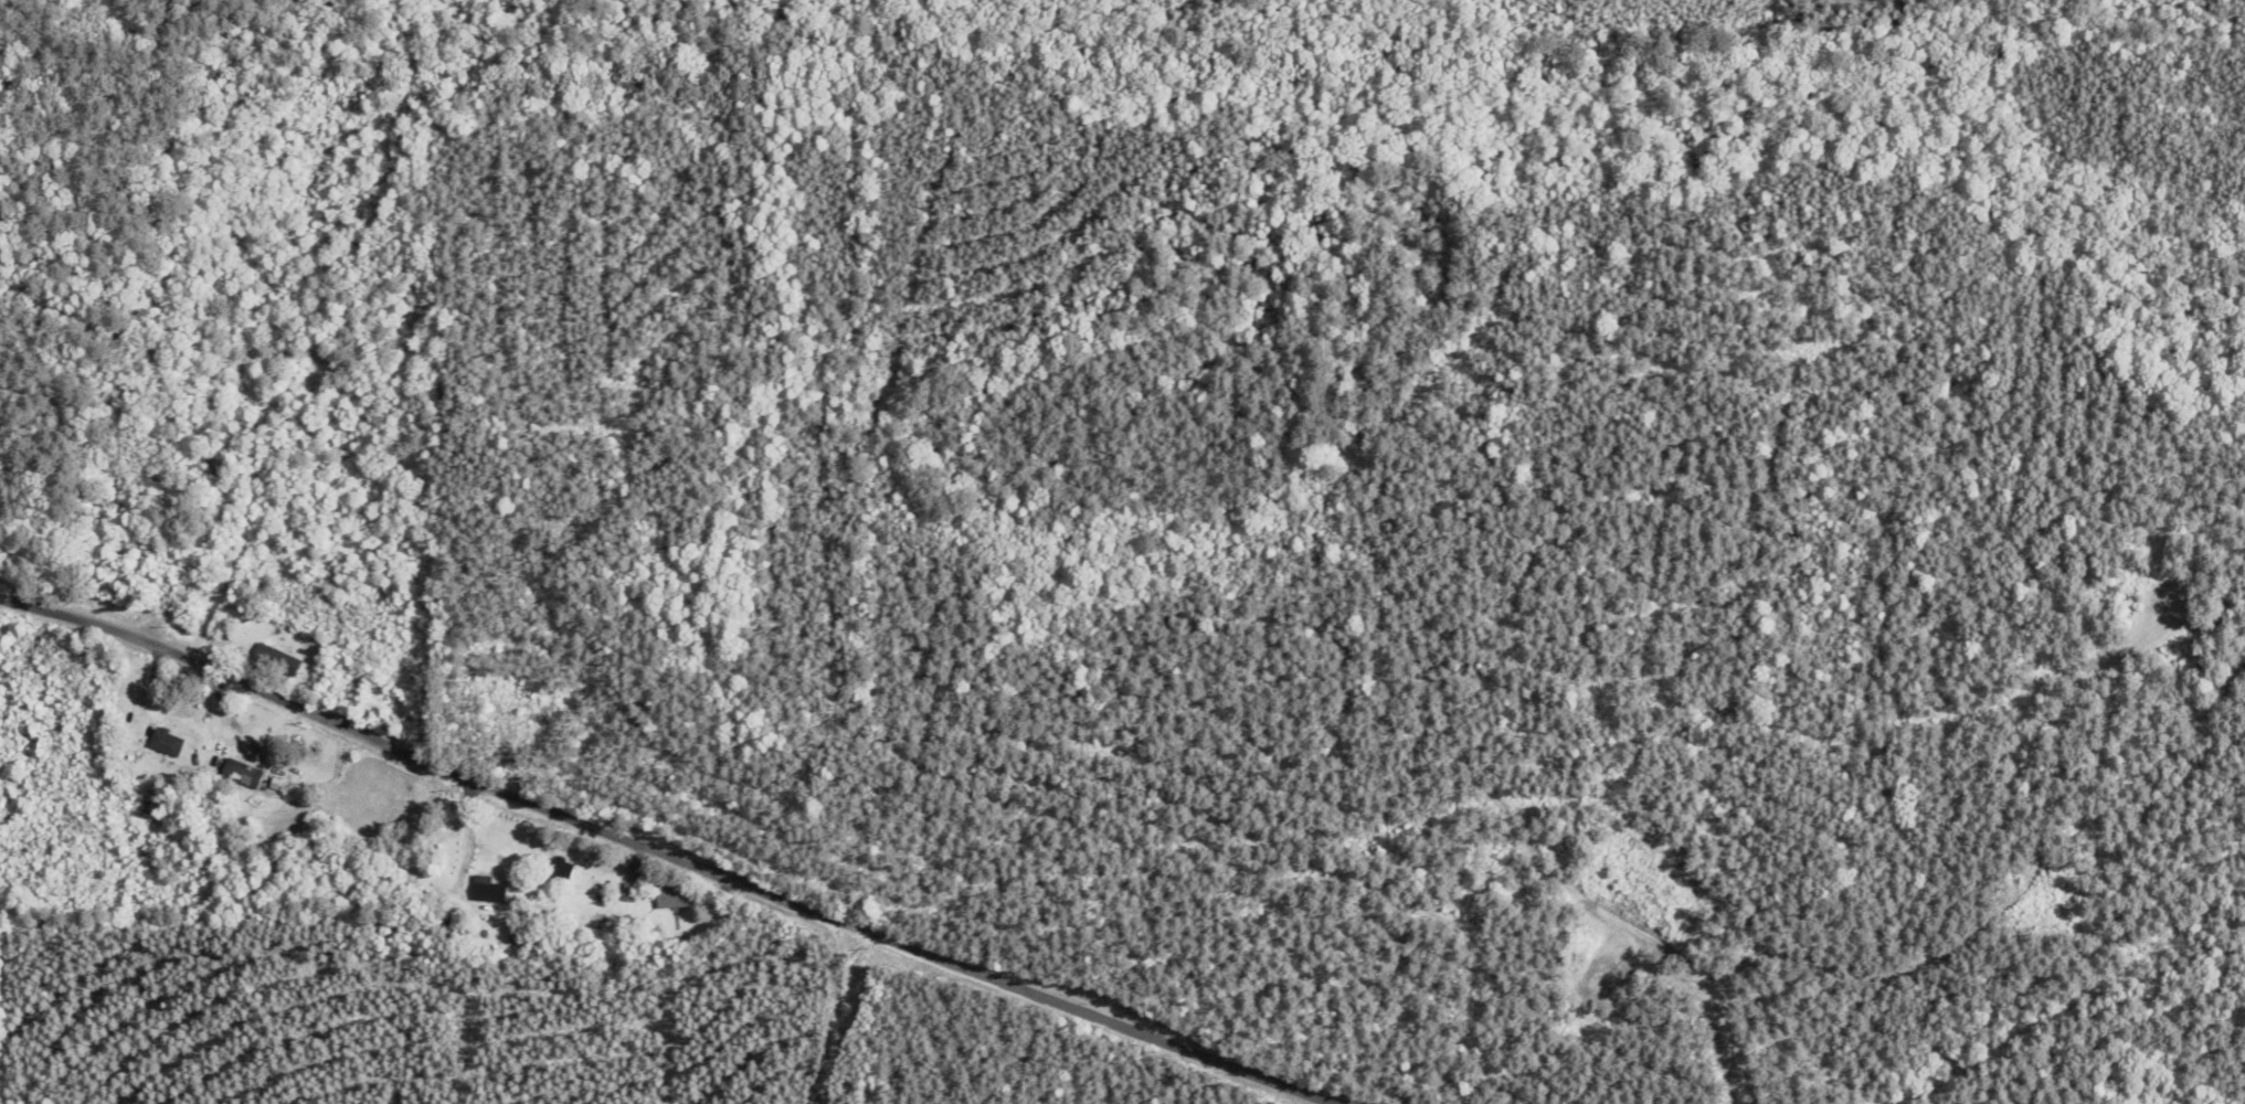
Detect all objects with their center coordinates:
building: (275, 661)
building: (165, 744)
building: (240, 775)
road: (685, 837)
building: (559, 870)
building: (485, 890)
building: (671, 898)

